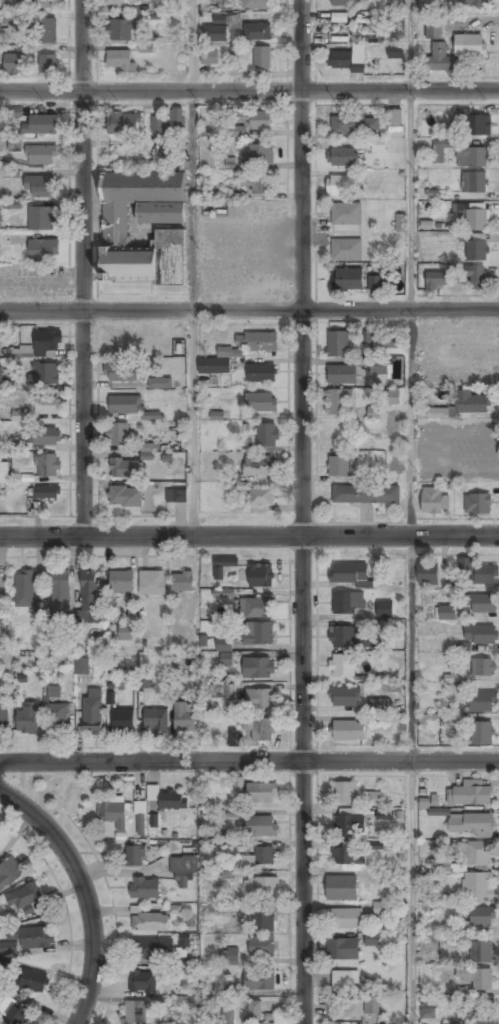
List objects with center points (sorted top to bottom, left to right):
building: (115, 1)
building: (344, 2)
building: (43, 3)
building: (476, 3)
building: (255, 4)
building: (339, 17)
building: (47, 30)
building: (122, 30)
building: (219, 31)
building: (434, 31)
building: (257, 32)
building: (0, 33)
building: (371, 38)
road: (409, 43)
road: (191, 44)
building: (469, 45)
building: (395, 52)
building: (234, 53)
building: (208, 57)
building: (262, 57)
building: (346, 58)
building: (437, 58)
building: (120, 60)
building: (49, 62)
building: (13, 63)
road: (249, 86)
building: (12, 112)
building: (393, 117)
building: (252, 119)
building: (169, 121)
building: (123, 123)
building: (475, 123)
building: (40, 125)
building: (355, 125)
building: (237, 131)
building: (378, 145)
building: (440, 151)
building: (260, 153)
building: (41, 155)
building: (471, 156)
building: (342, 157)
building: (474, 181)
building: (256, 184)
building: (341, 185)
building: (40, 186)
building: (426, 191)
building: (12, 204)
building: (346, 214)
building: (474, 214)
building: (0, 218)
building: (41, 219)
building: (400, 222)
building: (115, 227)
building: (346, 249)
building: (43, 250)
building: (477, 250)
road: (83, 268)
building: (475, 276)
building: (347, 279)
building: (436, 280)
building: (377, 282)
road: (249, 310)
road: (194, 311)
road: (410, 311)
building: (364, 337)
building: (389, 341)
building: (255, 342)
building: (338, 343)
building: (37, 346)
building: (214, 365)
building: (378, 366)
building: (121, 372)
building: (261, 373)
building: (44, 374)
building: (342, 374)
building: (1, 375)
building: (160, 382)
building: (392, 397)
building: (335, 401)
building: (261, 402)
building: (473, 403)
building: (125, 404)
building: (47, 405)
building: (374, 412)
building: (437, 412)
building: (19, 415)
building: (117, 435)
building: (267, 435)
building: (45, 436)
building: (147, 451)
building: (374, 460)
building: (48, 465)
building: (259, 465)
building: (339, 466)
building: (123, 468)
building: (4, 473)
building: (47, 492)
building: (365, 494)
building: (176, 495)
building: (125, 497)
building: (261, 497)
building: (431, 500)
building: (477, 504)
road: (302, 512)
road: (249, 536)
building: (221, 566)
building: (478, 571)
building: (349, 572)
building: (428, 573)
building: (260, 574)
building: (122, 581)
building: (182, 581)
building: (151, 583)
building: (24, 590)
building: (59, 591)
building: (222, 592)
building: (89, 596)
building: (347, 601)
building: (481, 603)
building: (255, 607)
building: (385, 609)
building: (2, 612)
building: (446, 612)
building: (124, 633)
building: (257, 633)
building: (481, 634)
building: (343, 635)
building: (223, 644)
building: (225, 659)
building: (341, 664)
building: (81, 665)
building: (482, 667)
building: (257, 668)
building: (451, 678)
building: (143, 682)
building: (177, 684)
building: (455, 689)
building: (53, 691)
building: (219, 691)
building: (345, 696)
building: (260, 699)
building: (482, 701)
building: (379, 703)
building: (93, 712)
building: (3, 713)
building: (57, 715)
building: (184, 717)
building: (28, 718)
building: (156, 719)
building: (123, 720)
building: (259, 728)
building: (348, 730)
building: (481, 733)
building: (235, 738)
road: (249, 762)
road: (413, 779)
building: (238, 784)
building: (343, 792)
building: (261, 793)
building: (469, 793)
building: (171, 799)
building: (374, 799)
building: (438, 812)
building: (113, 813)
building: (235, 813)
building: (384, 815)
building: (140, 818)
building: (470, 824)
building: (349, 825)
building: (261, 826)
building: (236, 843)
building: (374, 846)
building: (392, 846)
building: (475, 853)
building: (134, 855)
building: (347, 856)
building: (259, 857)
building: (444, 863)
building: (183, 866)
building: (9, 873)
building: (477, 885)
building: (262, 887)
building: (144, 888)
building: (341, 888)
road: (83, 893)
building: (434, 895)
building: (22, 899)
building: (228, 907)
building: (380, 908)
building: (481, 916)
building: (343, 918)
building: (263, 920)
building: (150, 921)
building: (28, 938)
building: (372, 939)
building: (261, 946)
building: (151, 948)
building: (342, 949)
building: (481, 951)
building: (230, 957)
building: (476, 976)
building: (34, 979)
building: (341, 980)
building: (142, 981)
building: (258, 981)
building: (464, 992)
building: (371, 1006)
building: (348, 1007)
building: (254, 1010)
building: (428, 1011)
building: (135, 1012)
building: (18, 1013)
building: (228, 1017)
building: (484, 1022)
building: (267, 1023)
building: (455, 1023)

